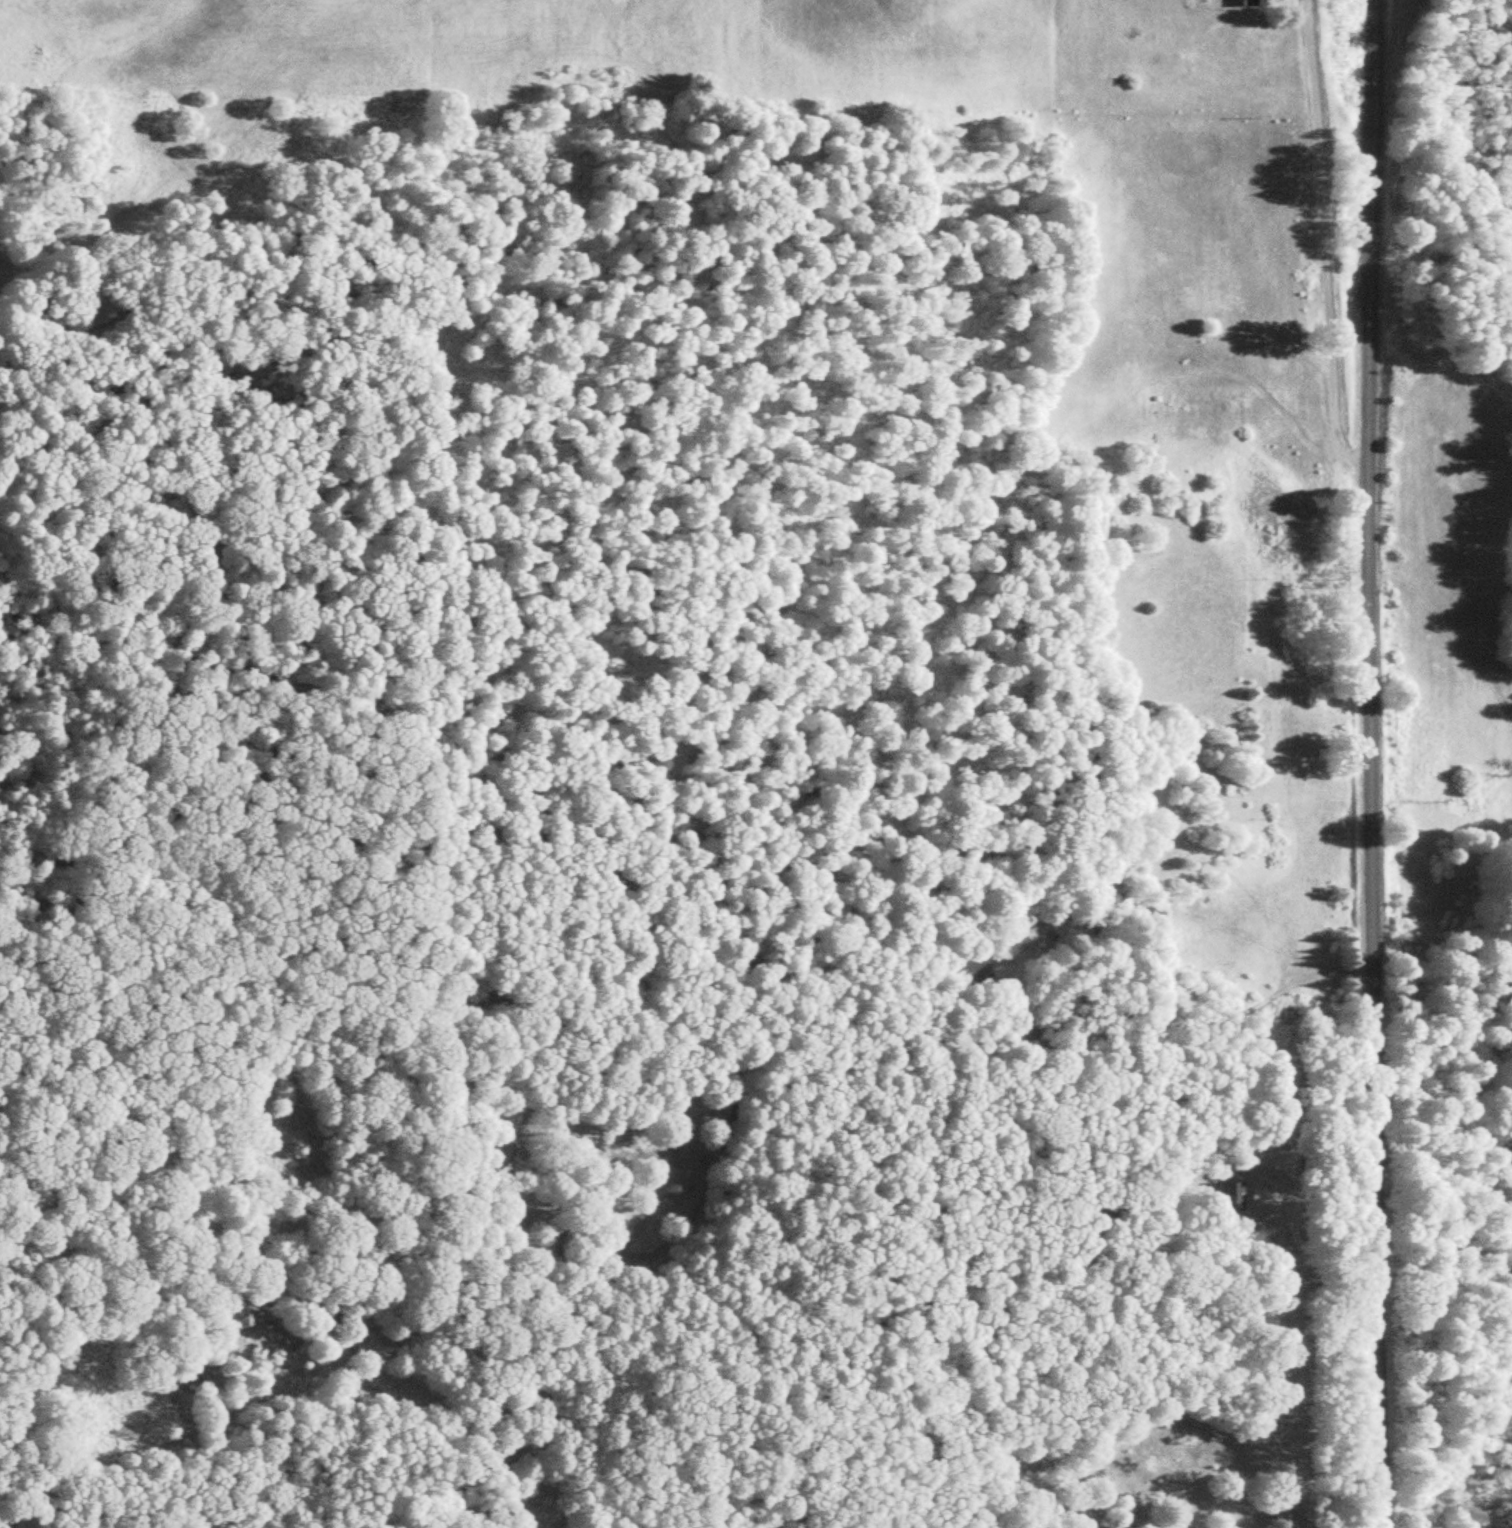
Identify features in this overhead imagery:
building: (1244, 2)
road: (1317, 242)
road: (1374, 764)
building: (973, 969)

